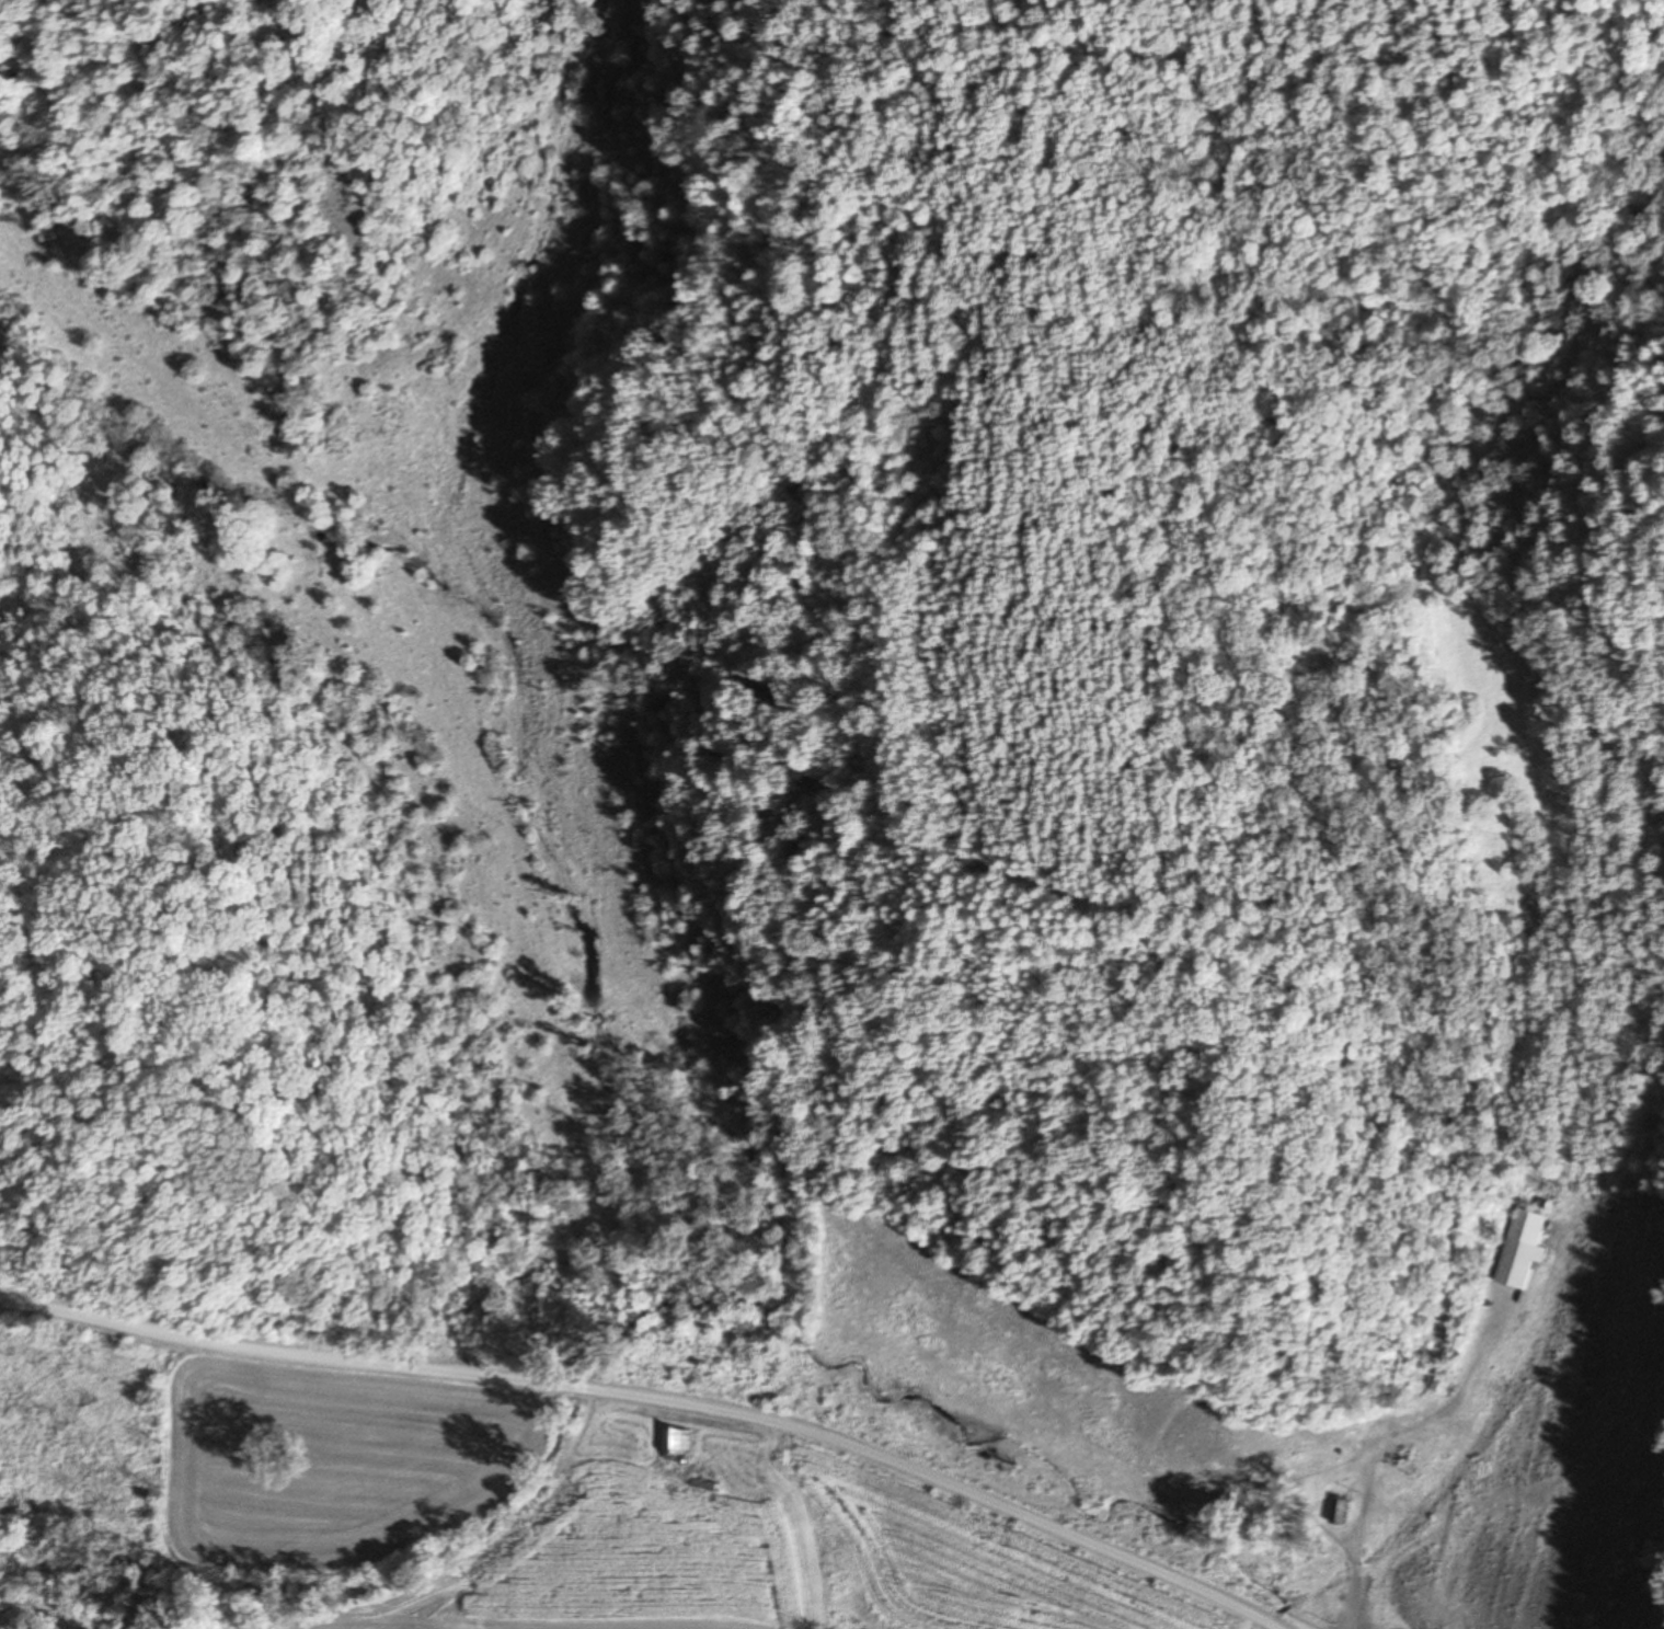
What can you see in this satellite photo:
building: (1525, 1250)
road: (656, 1398)
building: (680, 1443)
building: (1342, 1512)

